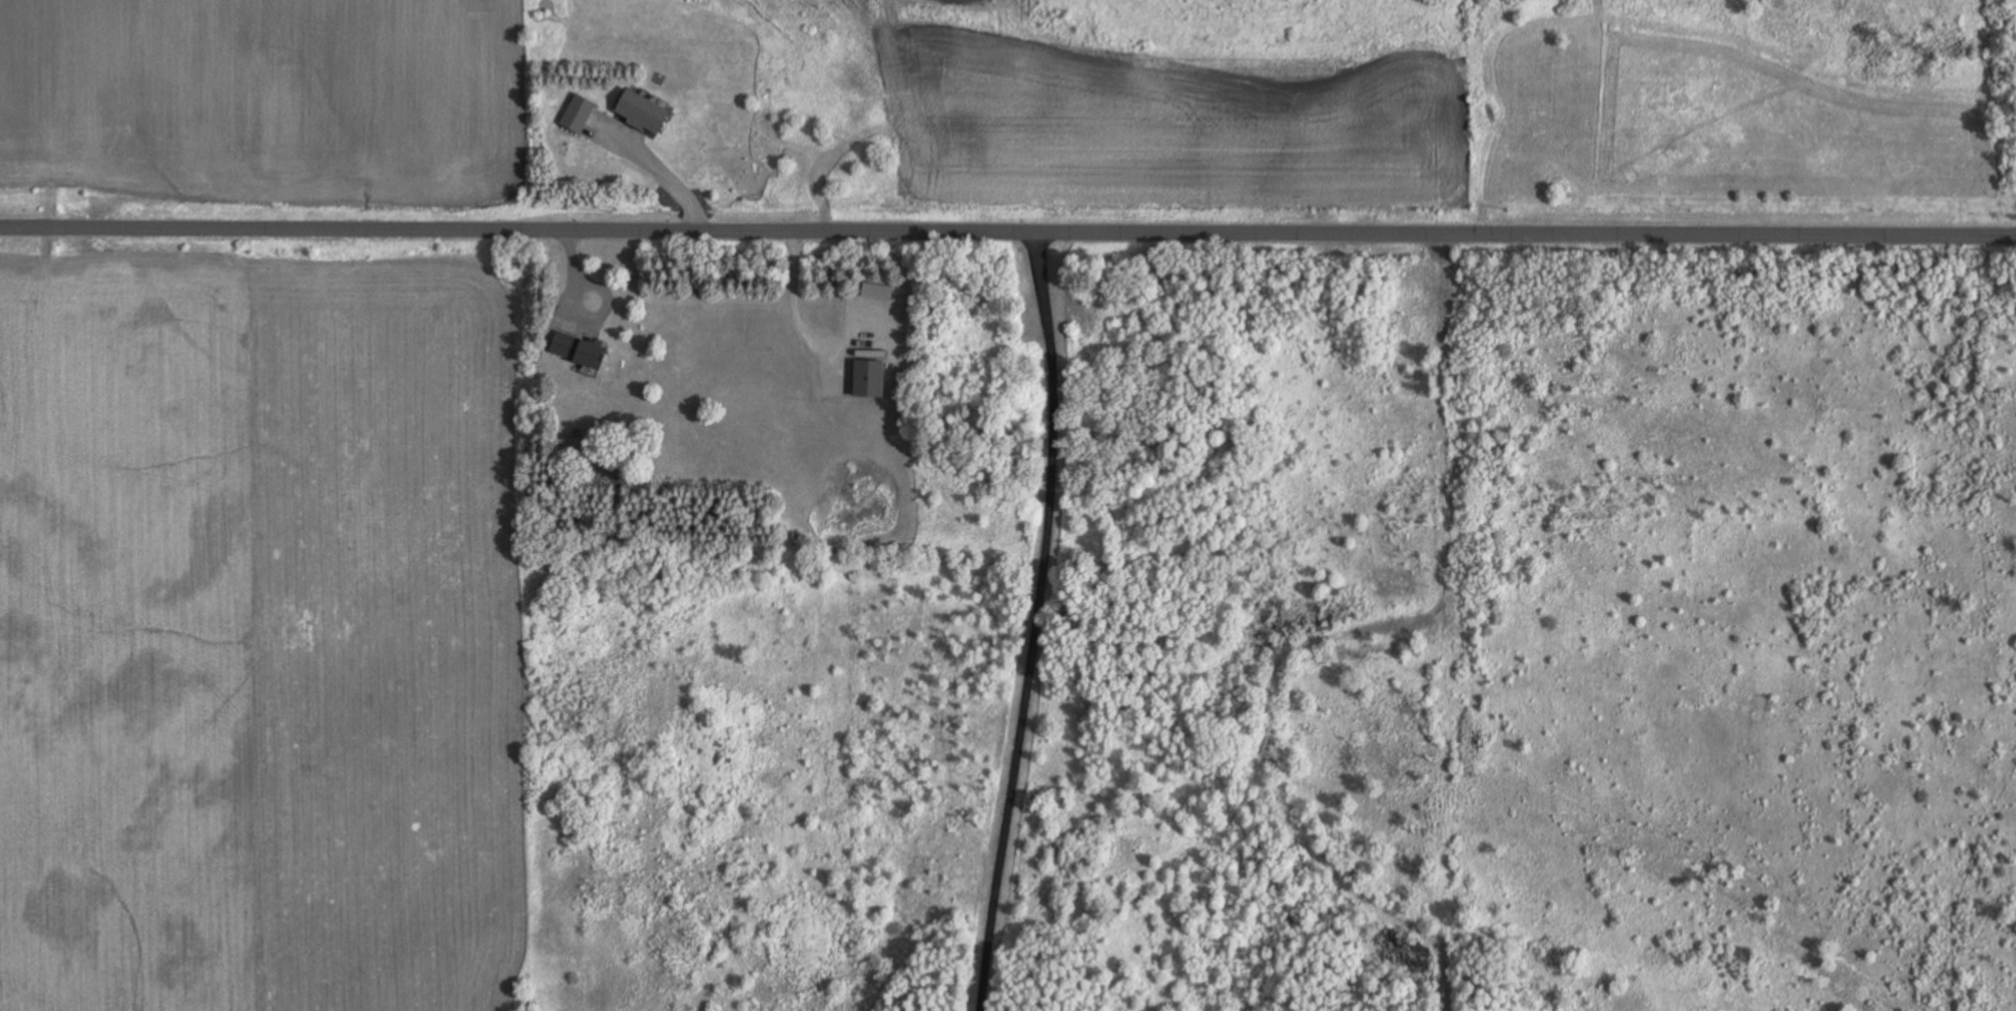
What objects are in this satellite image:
building: (639, 112)
building: (577, 115)
road: (1007, 223)
building: (577, 351)
building: (867, 379)
road: (1036, 618)

